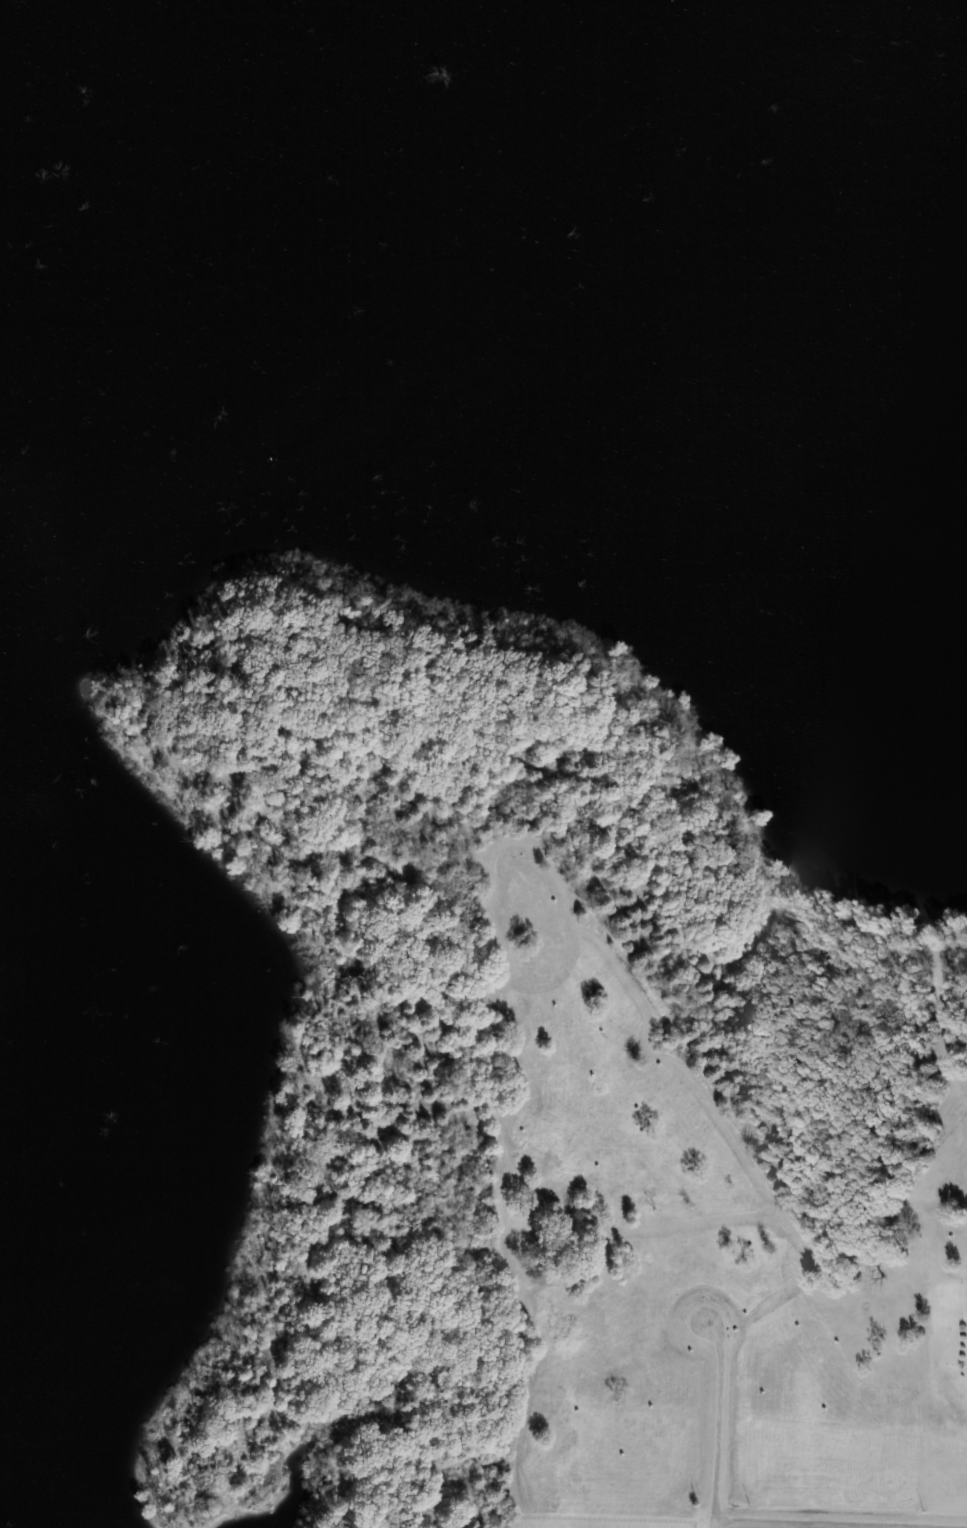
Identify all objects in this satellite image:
road: (717, 1419)
road: (790, 1525)
road: (793, 1527)

